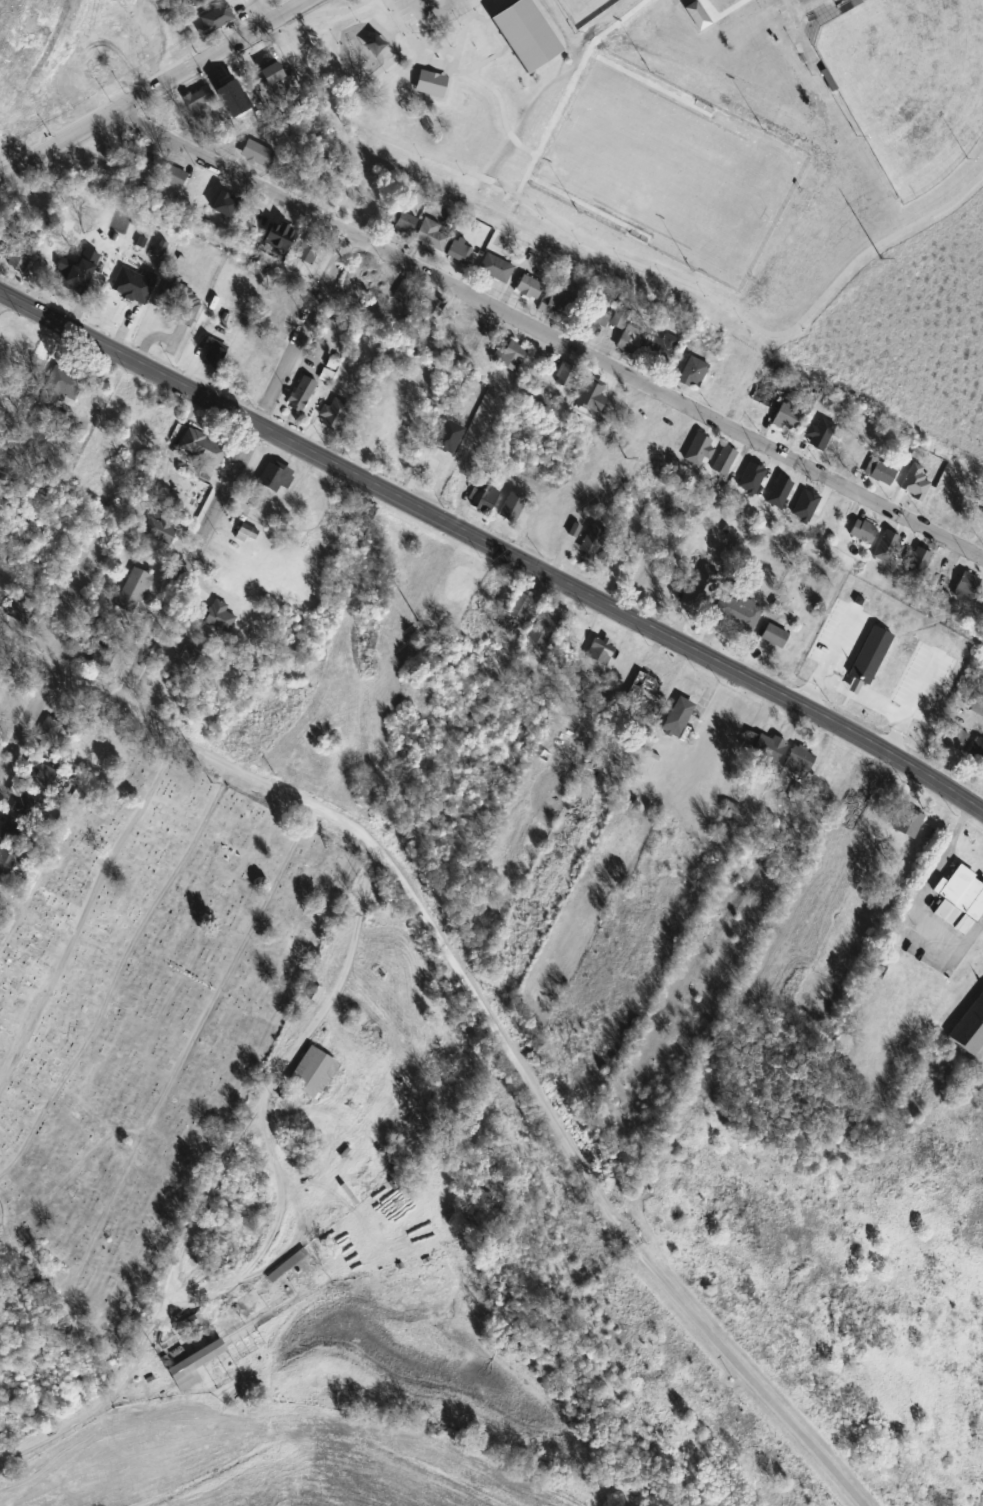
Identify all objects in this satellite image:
building: (278, 0)
road: (427, 9)
park: (583, 9)
road: (265, 10)
parking lot: (427, 11)
building: (694, 12)
building: (214, 19)
road: (491, 25)
road: (395, 30)
building: (523, 32)
park: (523, 32)
building: (91, 39)
building: (474, 42)
road: (412, 45)
road: (433, 46)
road: (391, 47)
road: (407, 61)
railway: (40, 69)
building: (271, 74)
building: (428, 81)
park: (909, 82)
building: (233, 88)
road: (154, 89)
building: (196, 100)
building: (167, 113)
road: (502, 116)
building: (39, 117)
park: (671, 128)
building: (258, 154)
building: (146, 161)
park: (669, 170)
building: (173, 176)
building: (223, 203)
building: (253, 218)
building: (404, 221)
building: (277, 235)
building: (431, 235)
road: (597, 246)
building: (309, 248)
building: (459, 251)
building: (20, 254)
power tower: (881, 261)
building: (495, 268)
building: (82, 280)
building: (134, 285)
building: (528, 288)
building: (404, 291)
road: (0, 292)
building: (180, 299)
building: (552, 303)
building: (435, 309)
building: (592, 320)
building: (458, 326)
building: (625, 330)
road: (548, 336)
building: (660, 346)
building: (209, 352)
building: (510, 355)
building: (693, 373)
building: (569, 377)
building: (59, 388)
building: (301, 393)
building: (787, 413)
building: (331, 414)
building: (153, 419)
building: (446, 435)
building: (817, 439)
building: (202, 448)
building: (848, 455)
power tower: (626, 460)
building: (724, 460)
building: (878, 470)
road: (235, 472)
building: (276, 476)
building: (913, 480)
building: (757, 497)
building: (785, 498)
building: (483, 499)
building: (511, 507)
building: (338, 510)
building: (259, 517)
building: (975, 520)
building: (157, 528)
building: (862, 532)
building: (247, 533)
building: (591, 541)
road: (494, 548)
building: (913, 554)
building: (934, 583)
building: (700, 586)
building: (967, 586)
building: (134, 591)
building: (16, 610)
building: (738, 612)
building: (217, 615)
power tower: (419, 623)
building: (773, 636)
building: (600, 650)
building: (99, 657)
road: (25, 660)
building: (185, 661)
building: (643, 690)
building: (165, 696)
building: (9, 703)
building: (679, 716)
road: (25, 725)
building: (47, 732)
building: (953, 738)
building: (768, 748)
building: (84, 749)
building: (976, 752)
building: (799, 761)
building: (40, 772)
power tower: (212, 785)
building: (585, 788)
building: (28, 804)
building: (733, 812)
building: (908, 823)
building: (11, 830)
building: (6, 859)
building: (960, 900)
road: (91, 918)
road: (973, 930)
road: (334, 984)
park: (144, 1009)
building: (970, 1028)
road: (499, 1035)
building: (312, 1073)
road: (265, 1251)
building: (286, 1266)
building: (195, 1327)
building: (193, 1366)

